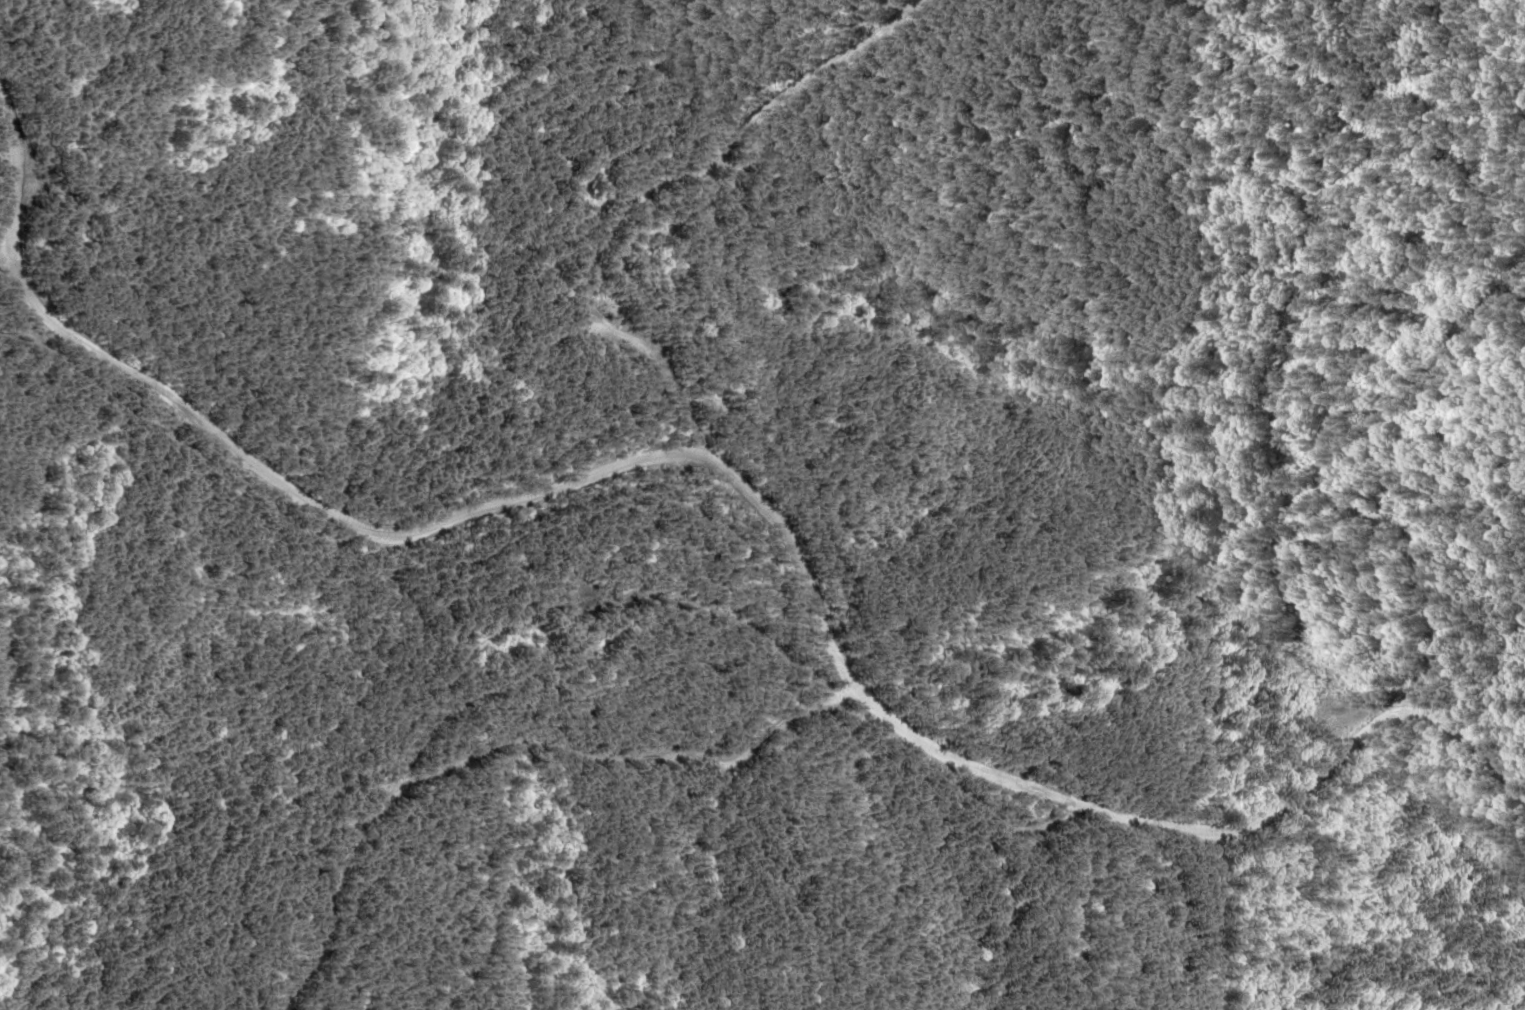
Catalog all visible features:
road: (746, 520)

